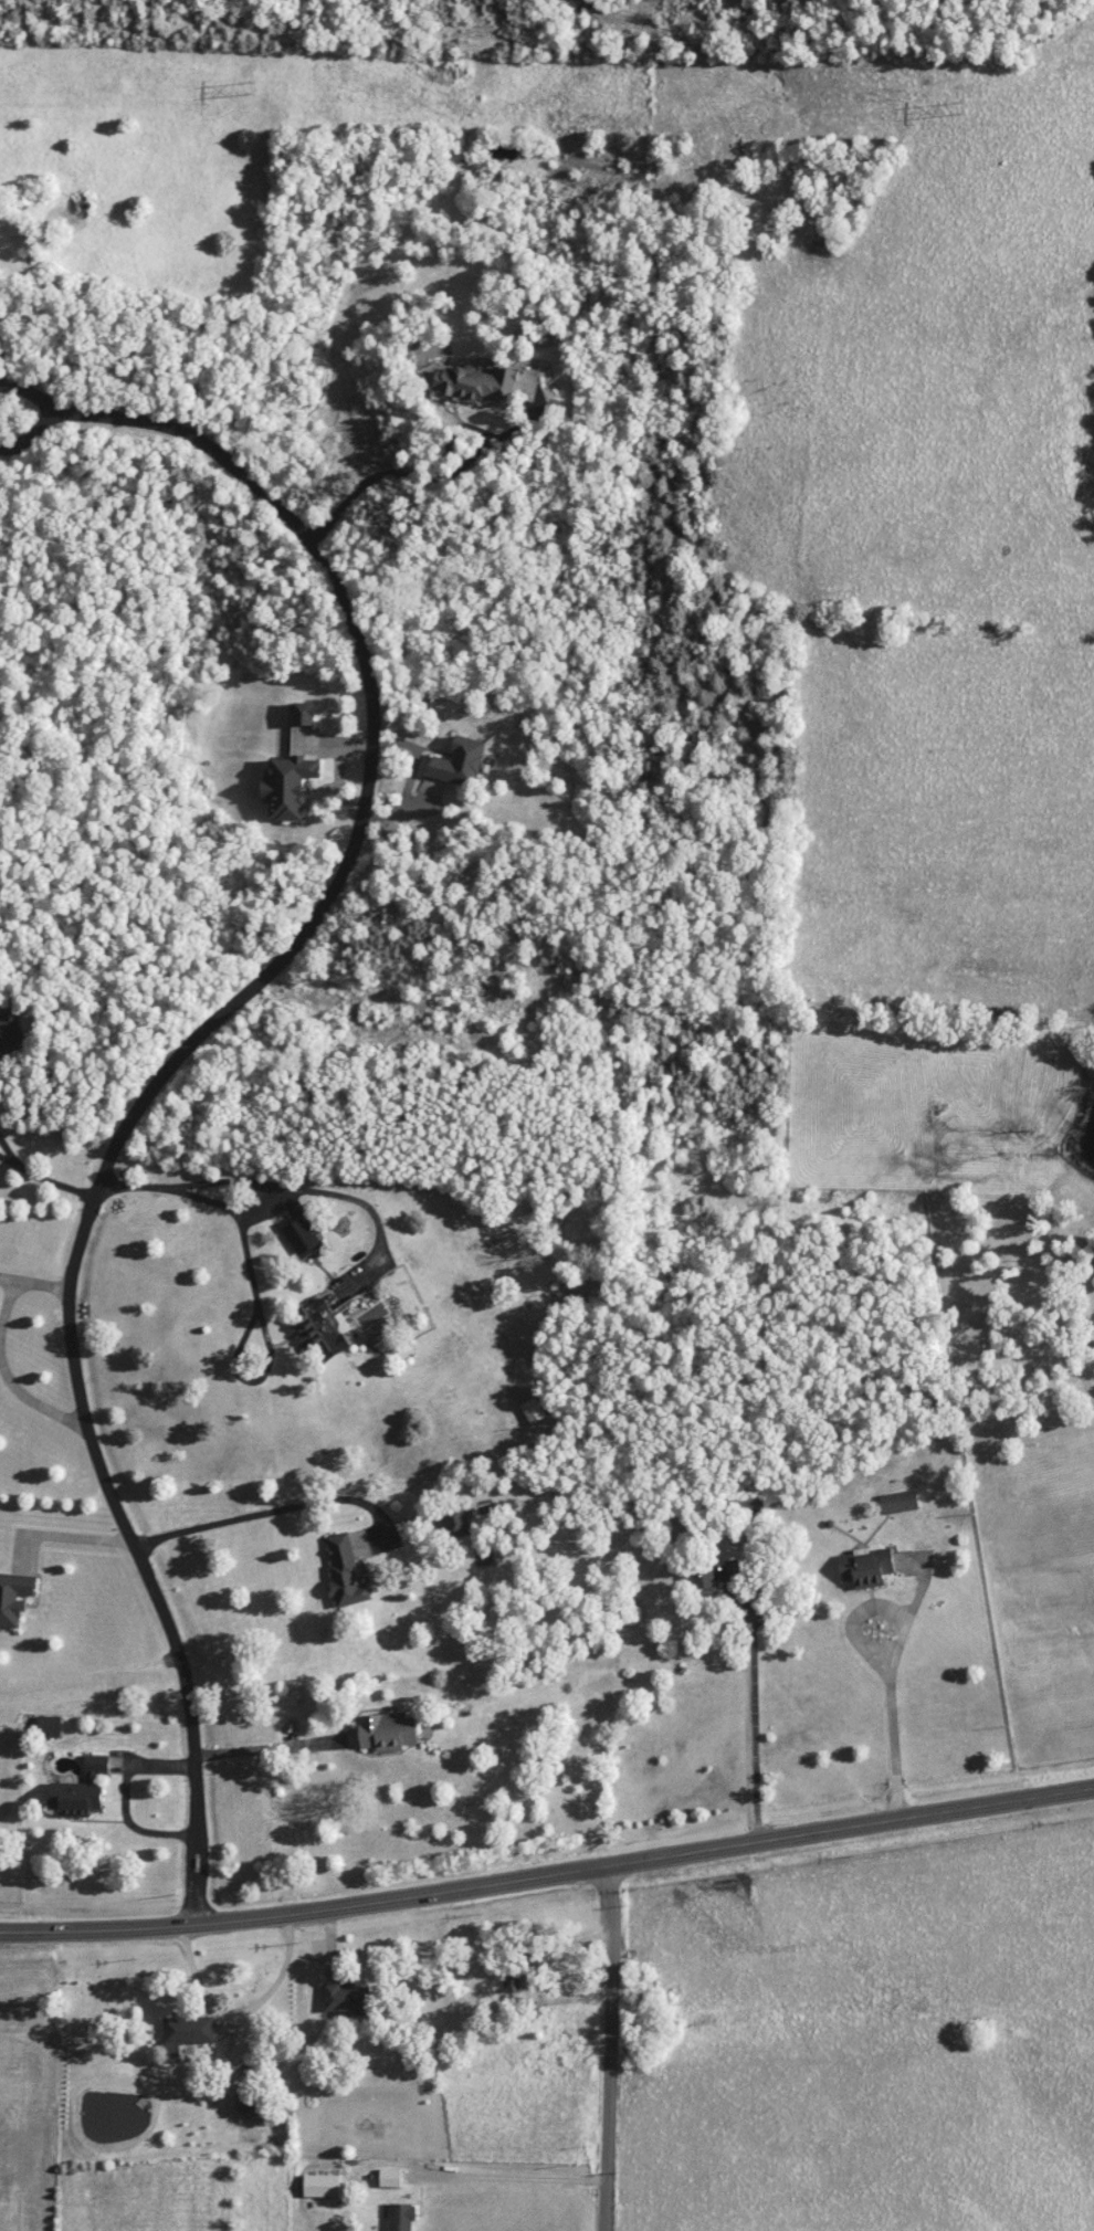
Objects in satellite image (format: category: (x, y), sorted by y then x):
building: (477, 382)
road: (51, 408)
road: (427, 476)
building: (464, 761)
building: (295, 785)
building: (19, 1032)
road: (178, 1062)
road: (7, 1156)
road: (42, 1171)
road: (252, 1174)
road: (221, 1203)
road: (380, 1217)
building: (307, 1236)
road: (35, 1284)
building: (327, 1333)
road: (245, 1336)
road: (7, 1375)
building: (540, 1410)
building: (750, 1499)
building: (894, 1502)
road: (269, 1511)
building: (462, 1525)
road: (65, 1529)
building: (349, 1568)
building: (859, 1568)
building: (726, 1574)
building: (19, 1599)
road: (892, 1677)
building: (54, 1727)
building: (397, 1730)
road: (277, 1745)
building: (88, 1790)
road: (125, 1793)
road: (548, 1871)
building: (528, 1980)
building: (353, 1997)
building: (192, 2030)
road: (613, 2045)
building: (251, 2103)
building: (391, 2178)
road: (520, 2178)
building: (324, 2186)
building: (403, 2218)

